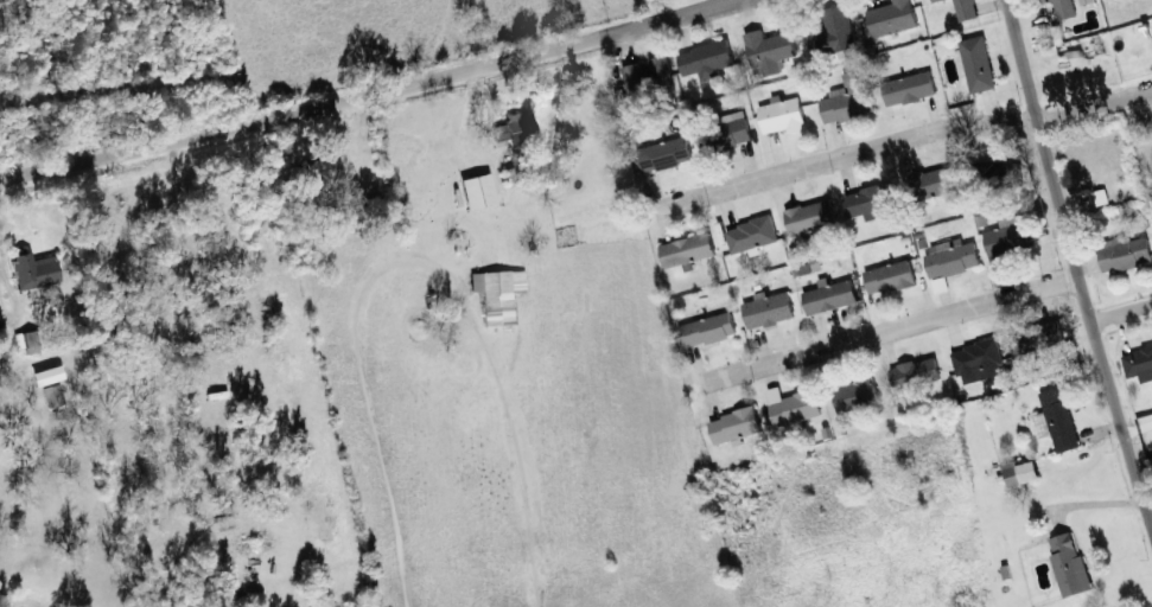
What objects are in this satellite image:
building: (1087, 2)
building: (963, 8)
building: (1065, 9)
building: (893, 19)
building: (835, 34)
building: (770, 52)
building: (708, 62)
building: (979, 65)
building: (650, 78)
building: (911, 90)
road: (381, 94)
building: (849, 100)
building: (783, 117)
building: (517, 130)
building: (728, 138)
road: (905, 142)
building: (666, 156)
building: (324, 174)
building: (1005, 175)
building: (936, 185)
building: (478, 192)
building: (873, 202)
building: (812, 219)
building: (753, 237)
building: (1008, 241)
building: (689, 251)
building: (1126, 256)
building: (954, 258)
road: (1073, 266)
building: (807, 270)
building: (36, 271)
building: (891, 280)
building: (499, 295)
building: (830, 298)
building: (770, 312)
road: (1120, 317)
building: (708, 332)
road: (892, 333)
building: (1039, 339)
building: (28, 343)
building: (980, 363)
building: (1139, 366)
building: (917, 376)
building: (858, 396)
building: (53, 397)
building: (795, 408)
building: (1061, 422)
building: (737, 428)
building: (1021, 474)
road: (1151, 522)
building: (1070, 567)

